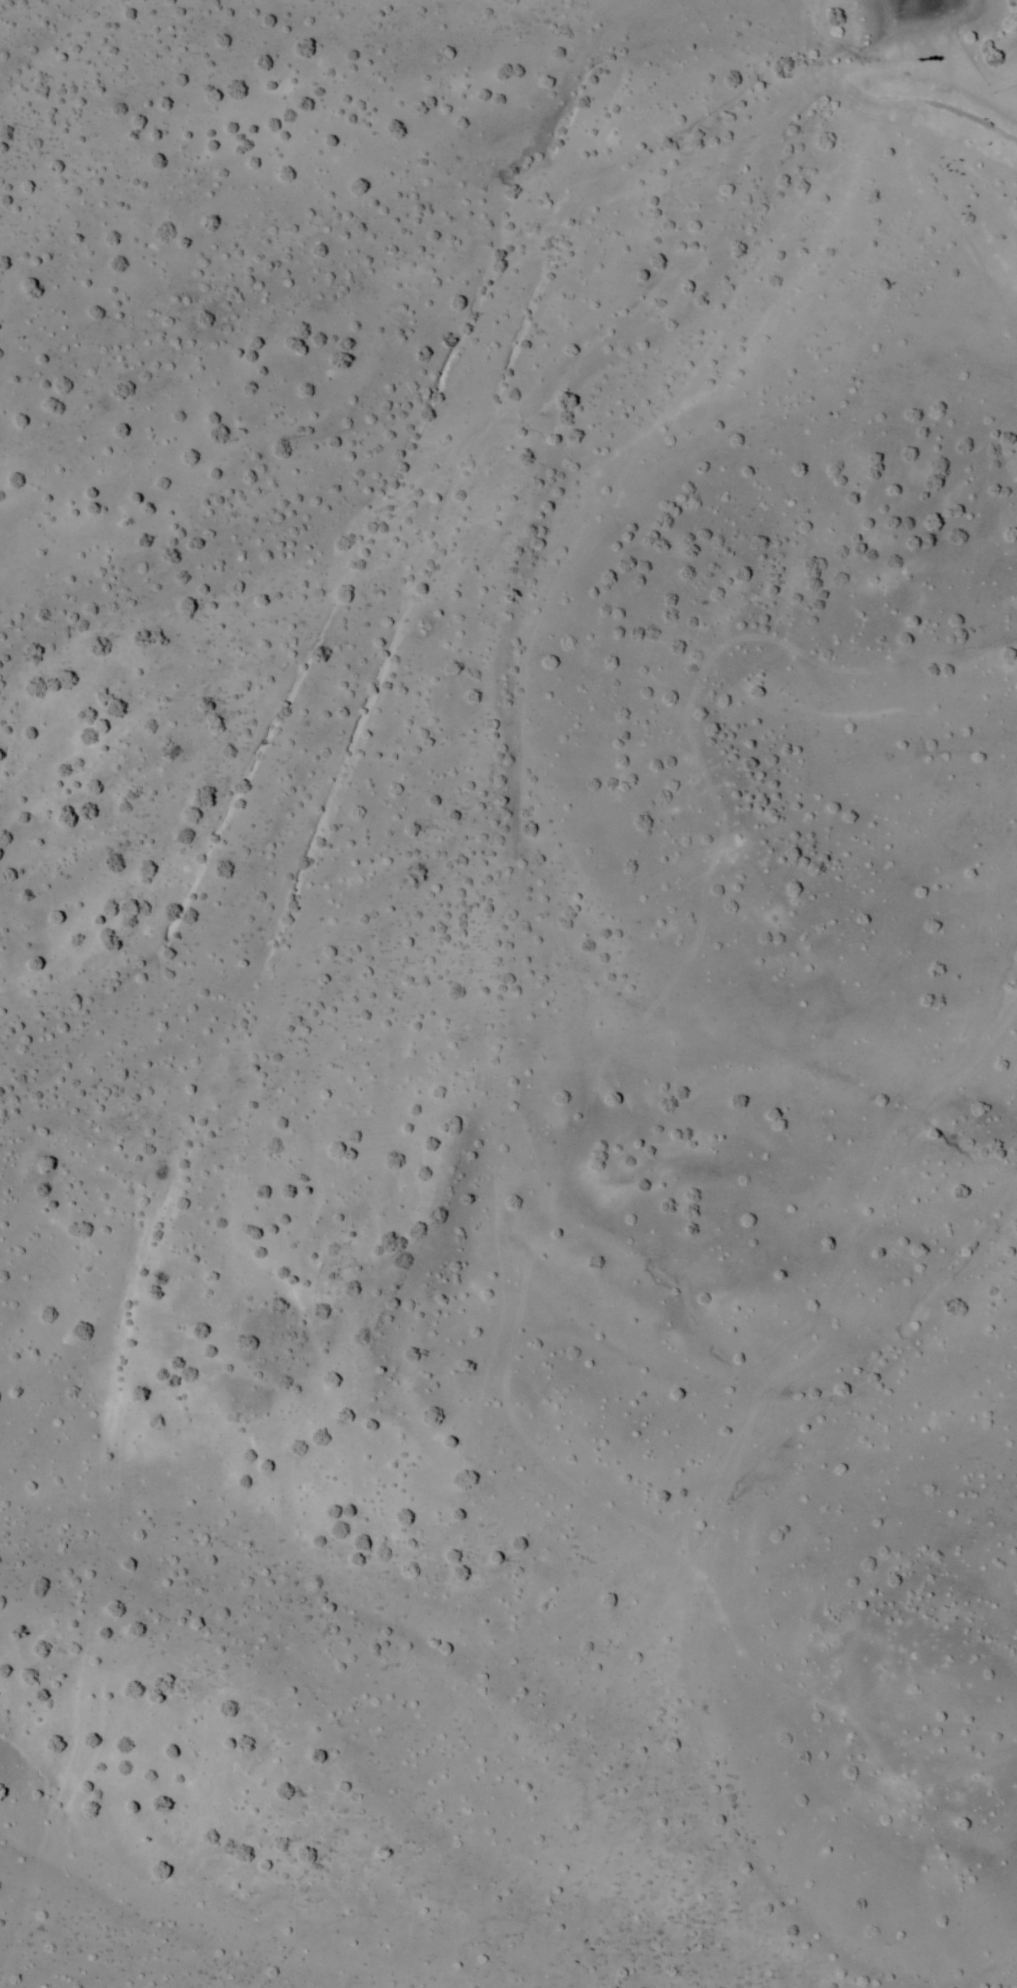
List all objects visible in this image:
road: (936, 71)

